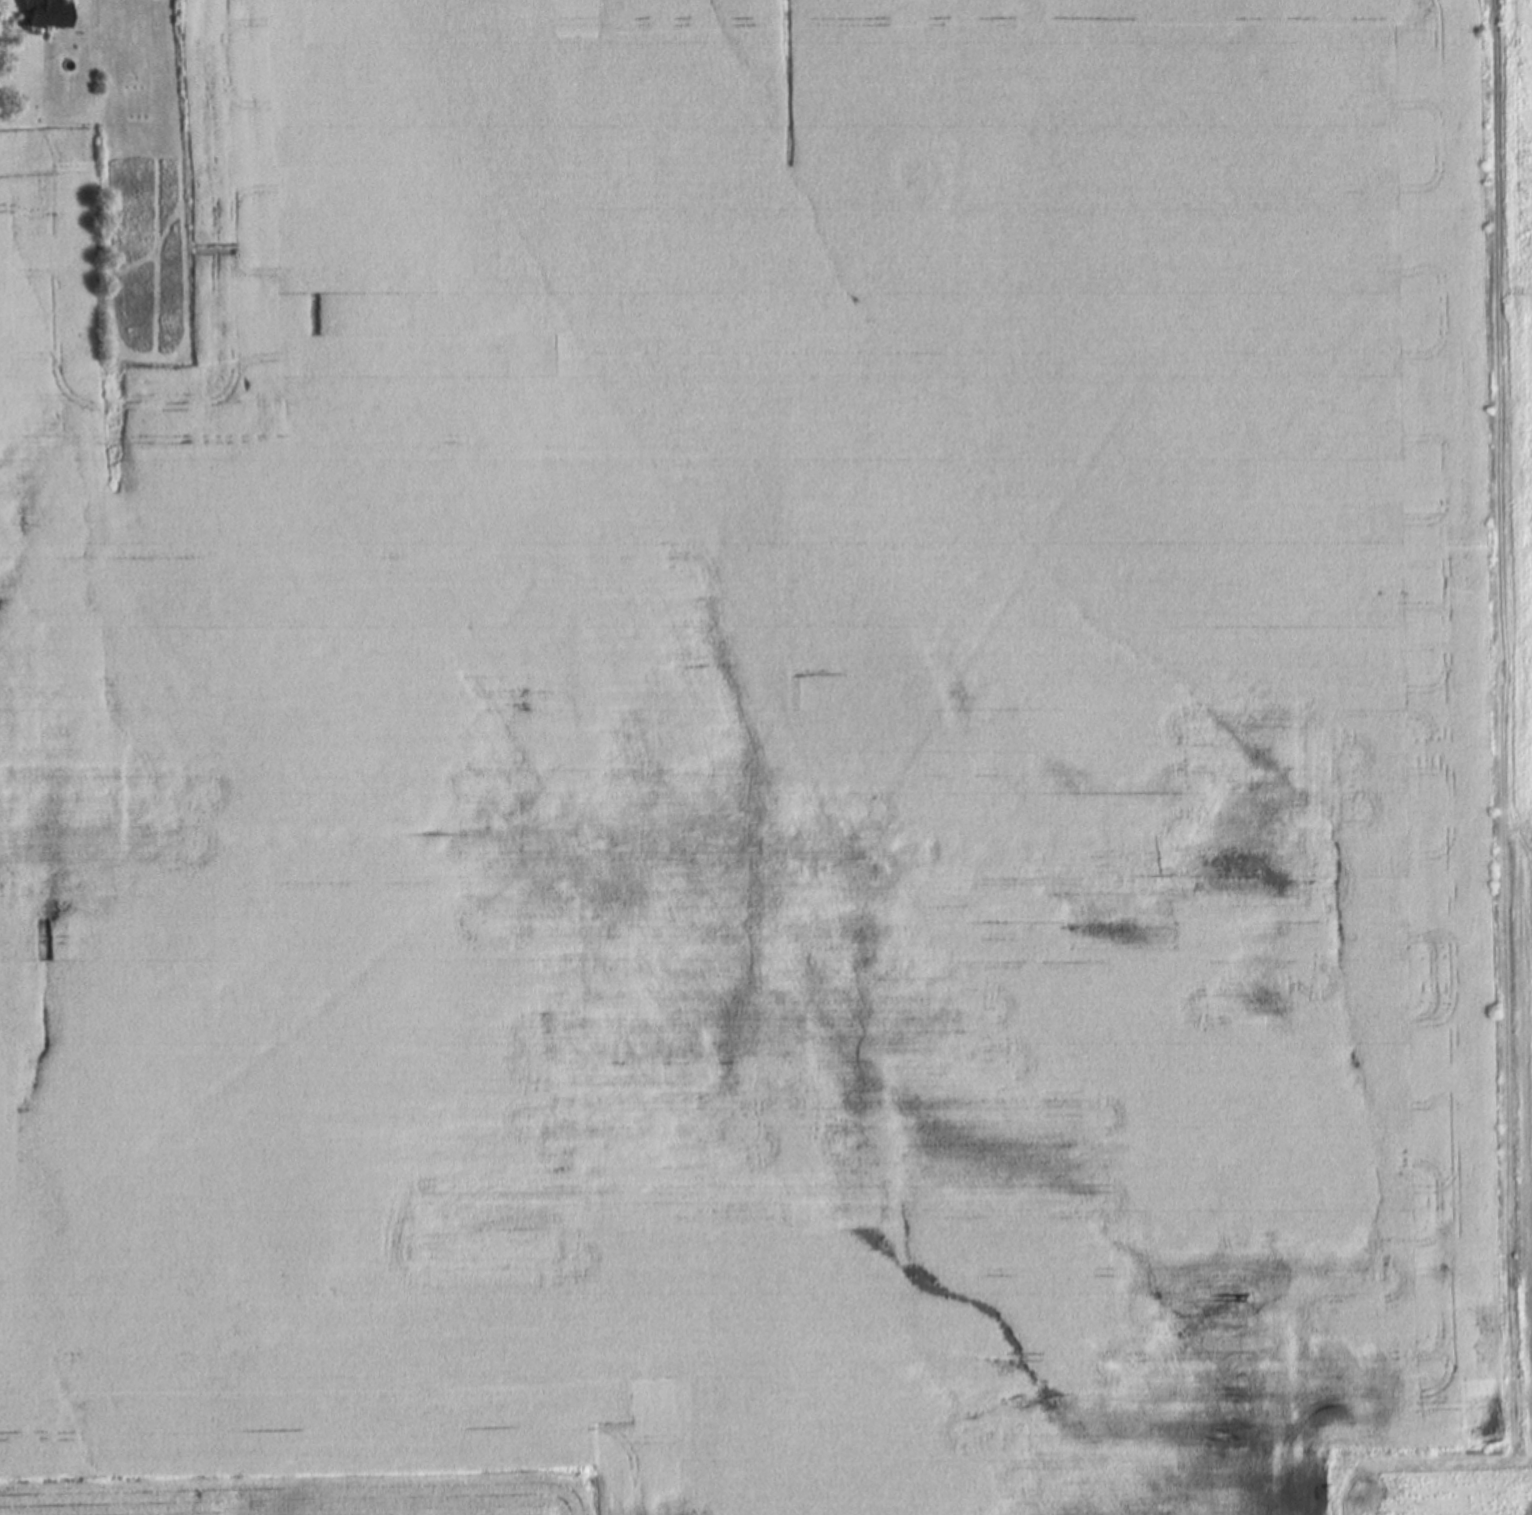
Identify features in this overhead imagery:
building: (48, 12)
road: (1504, 726)
road: (1483, 809)

